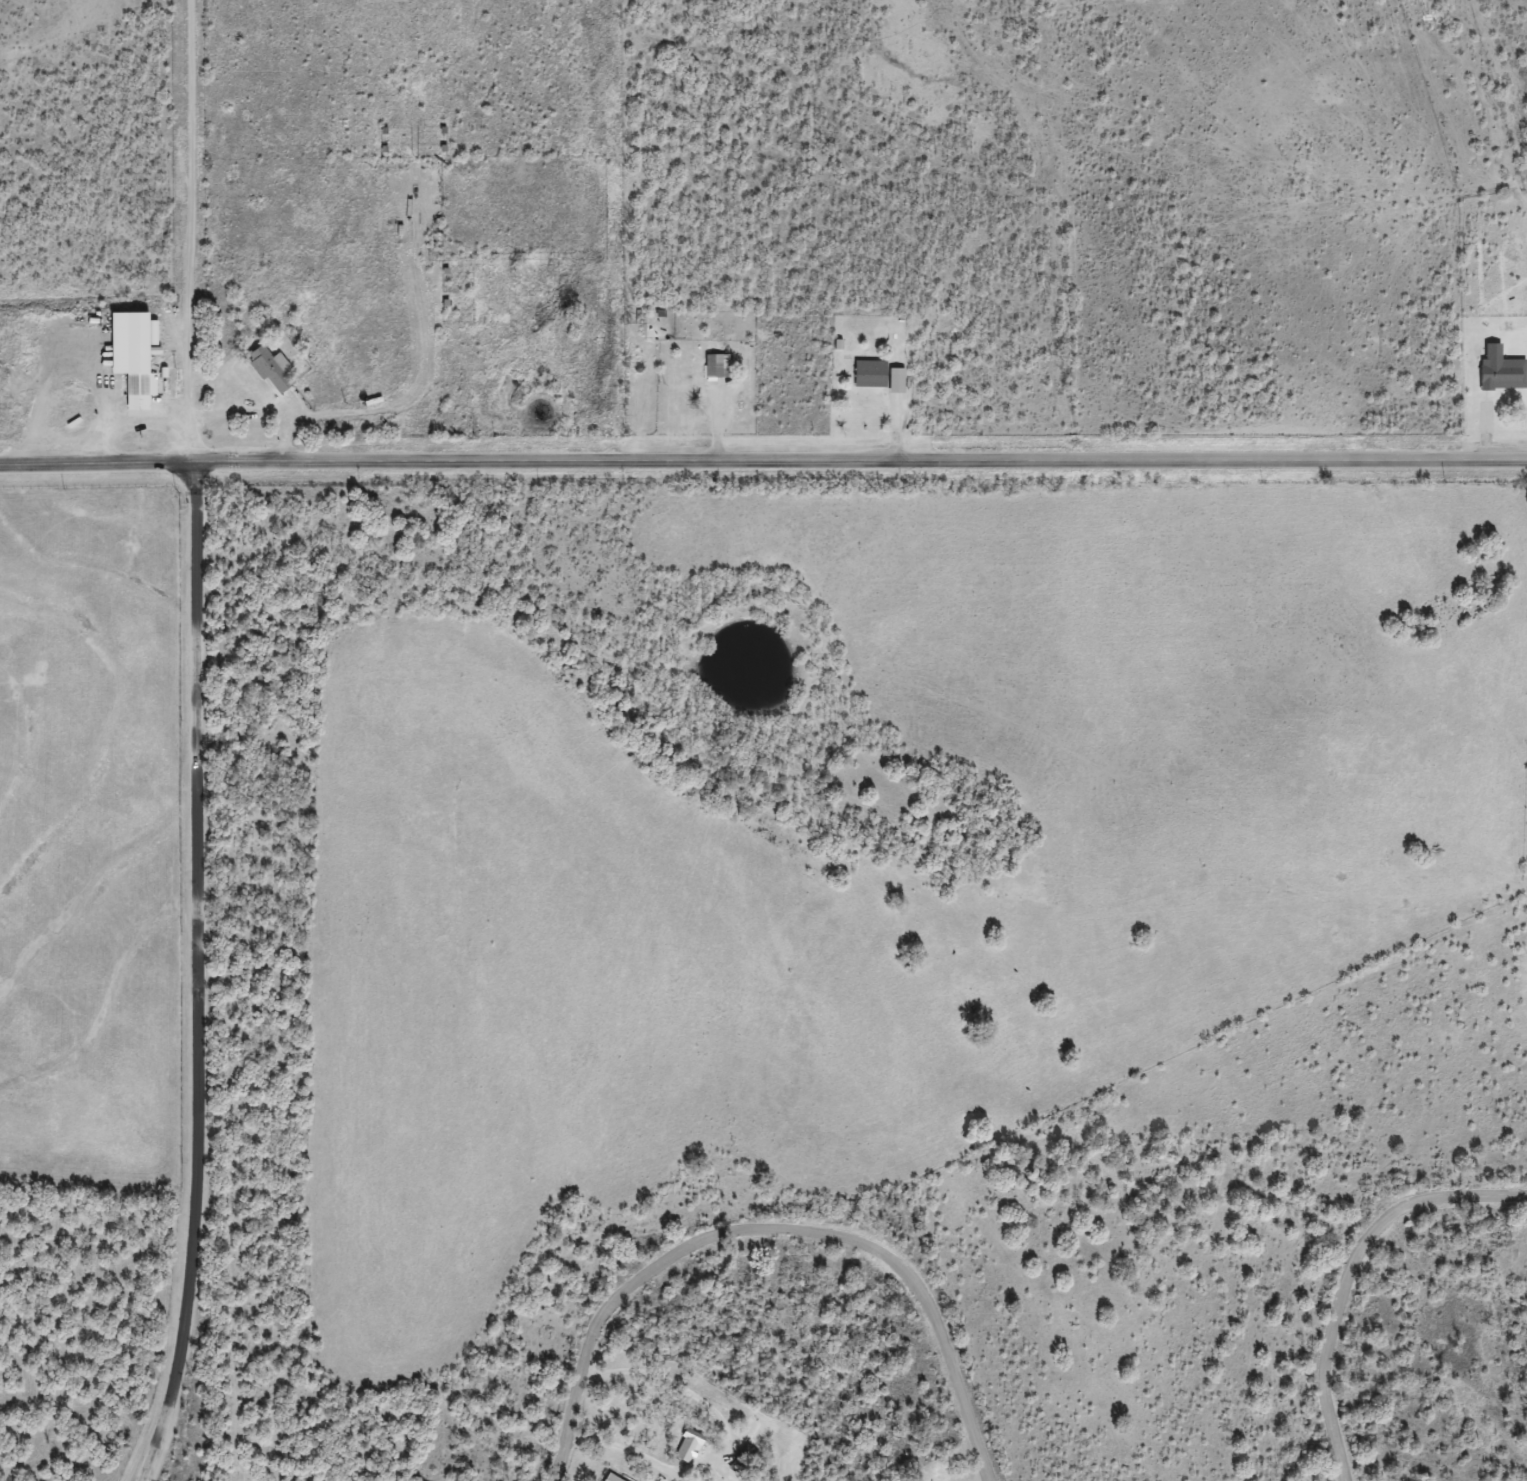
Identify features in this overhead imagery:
building: (155, 313)
building: (719, 367)
building: (274, 369)
building: (1500, 373)
building: (872, 374)
building: (897, 380)
building: (141, 392)
road: (763, 461)
road: (195, 972)
road: (779, 1250)
road: (1367, 1285)
building: (752, 1429)
building: (690, 1449)

